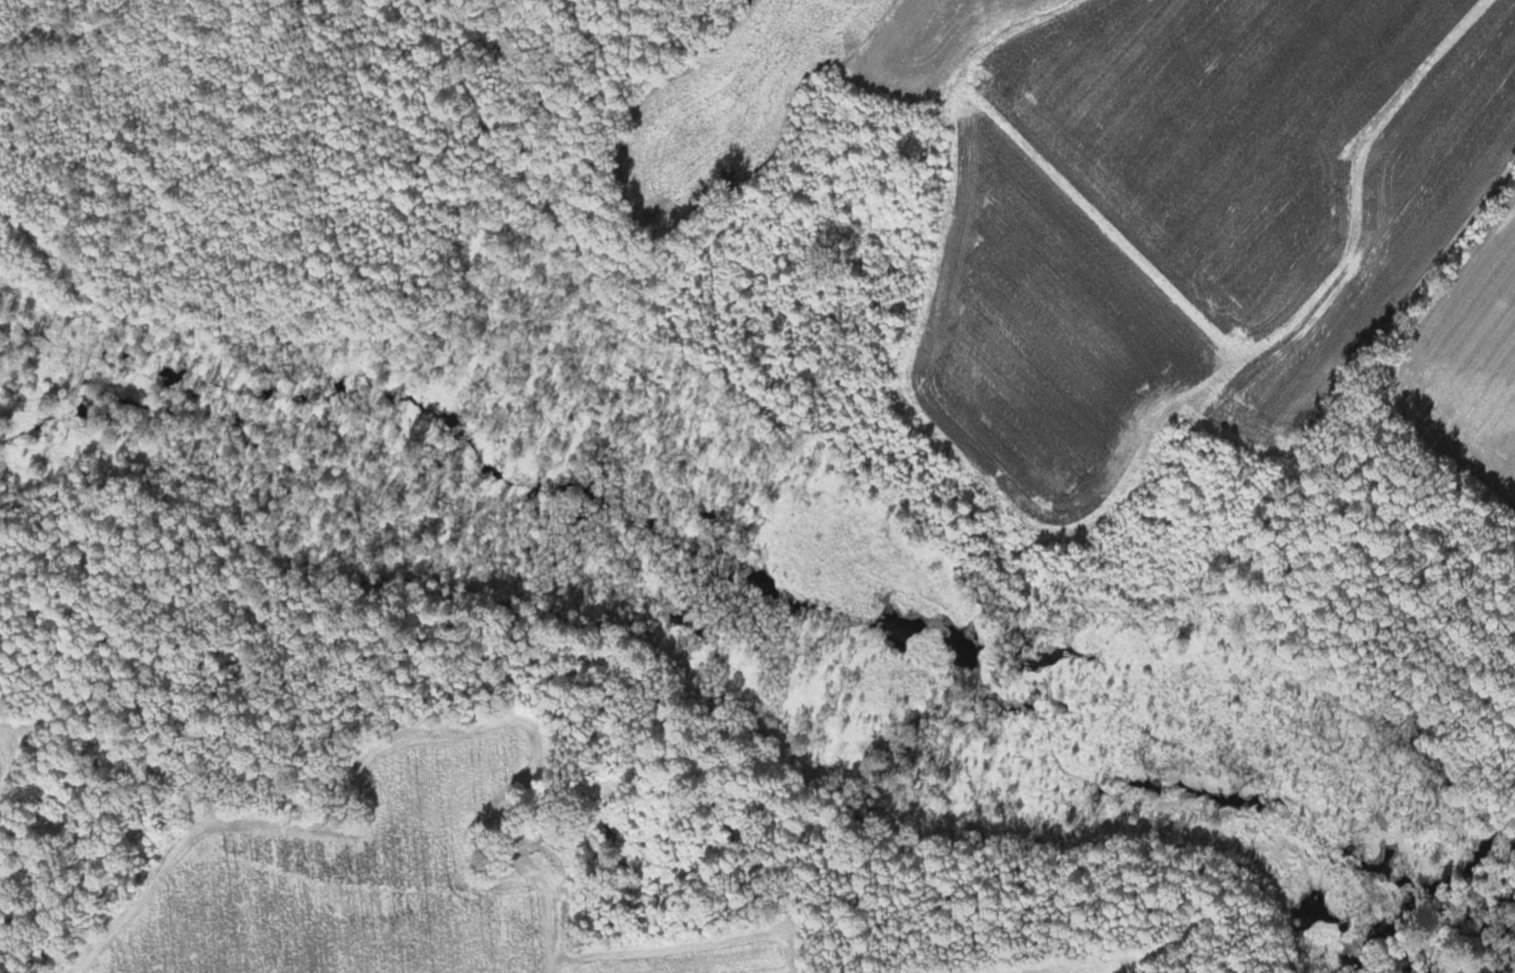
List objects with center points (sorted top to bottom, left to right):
building: (612, 830)

